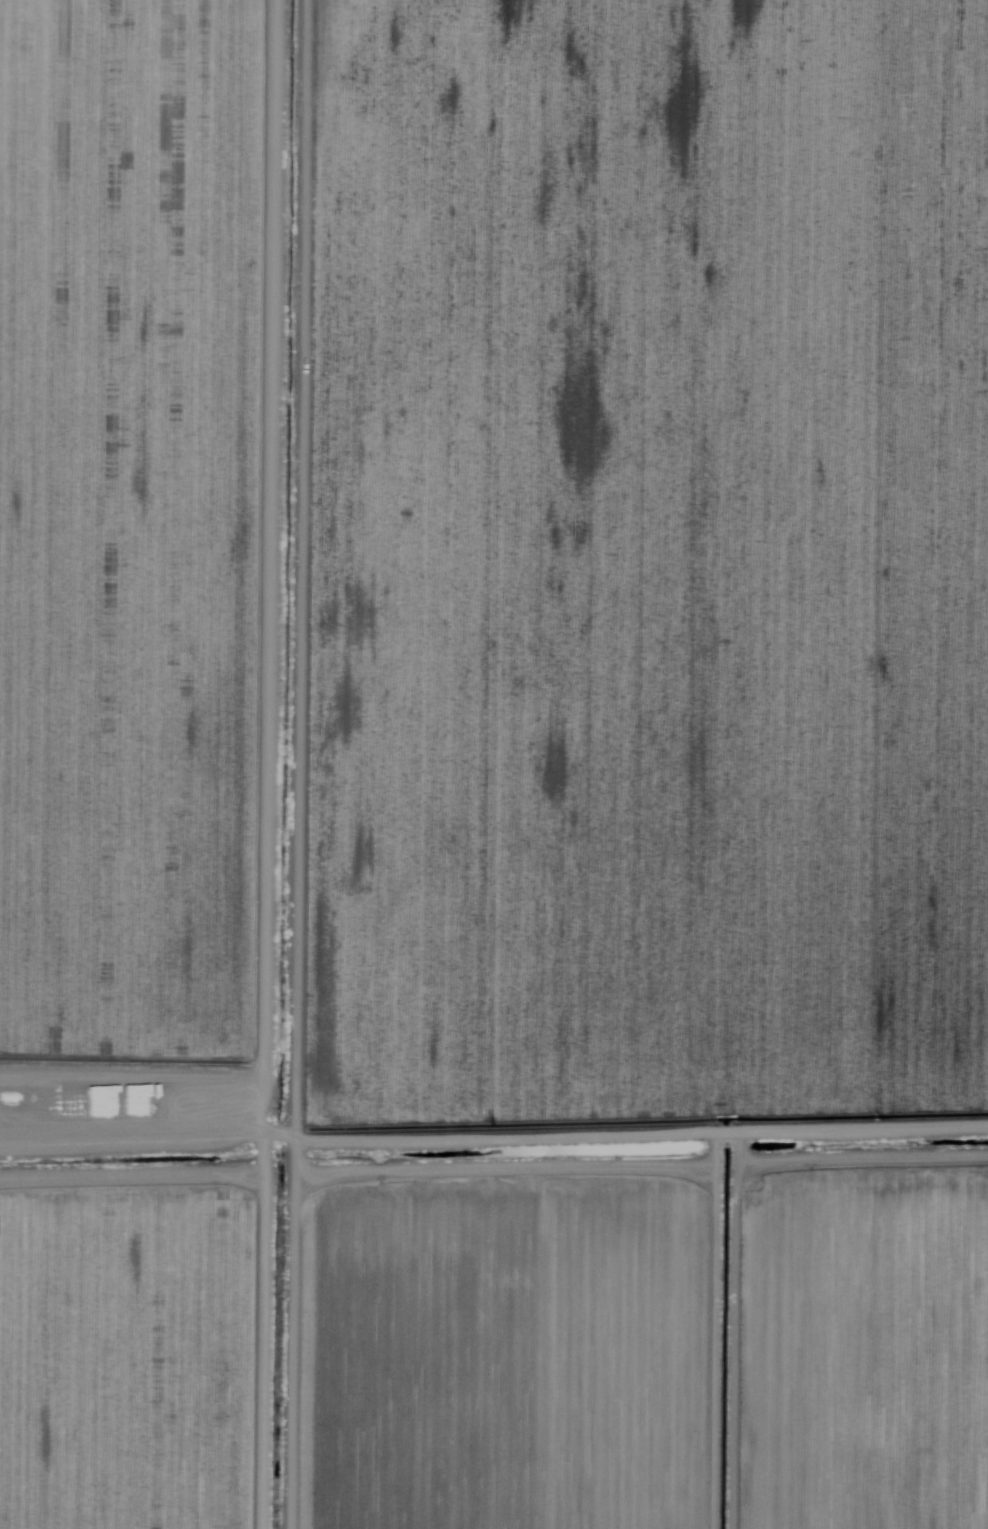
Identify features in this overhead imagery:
crop: (845, 539)
crop: (351, 559)
road: (363, 1150)
crop: (864, 1191)
road: (725, 1340)
crop: (368, 1344)
crop: (861, 1377)

